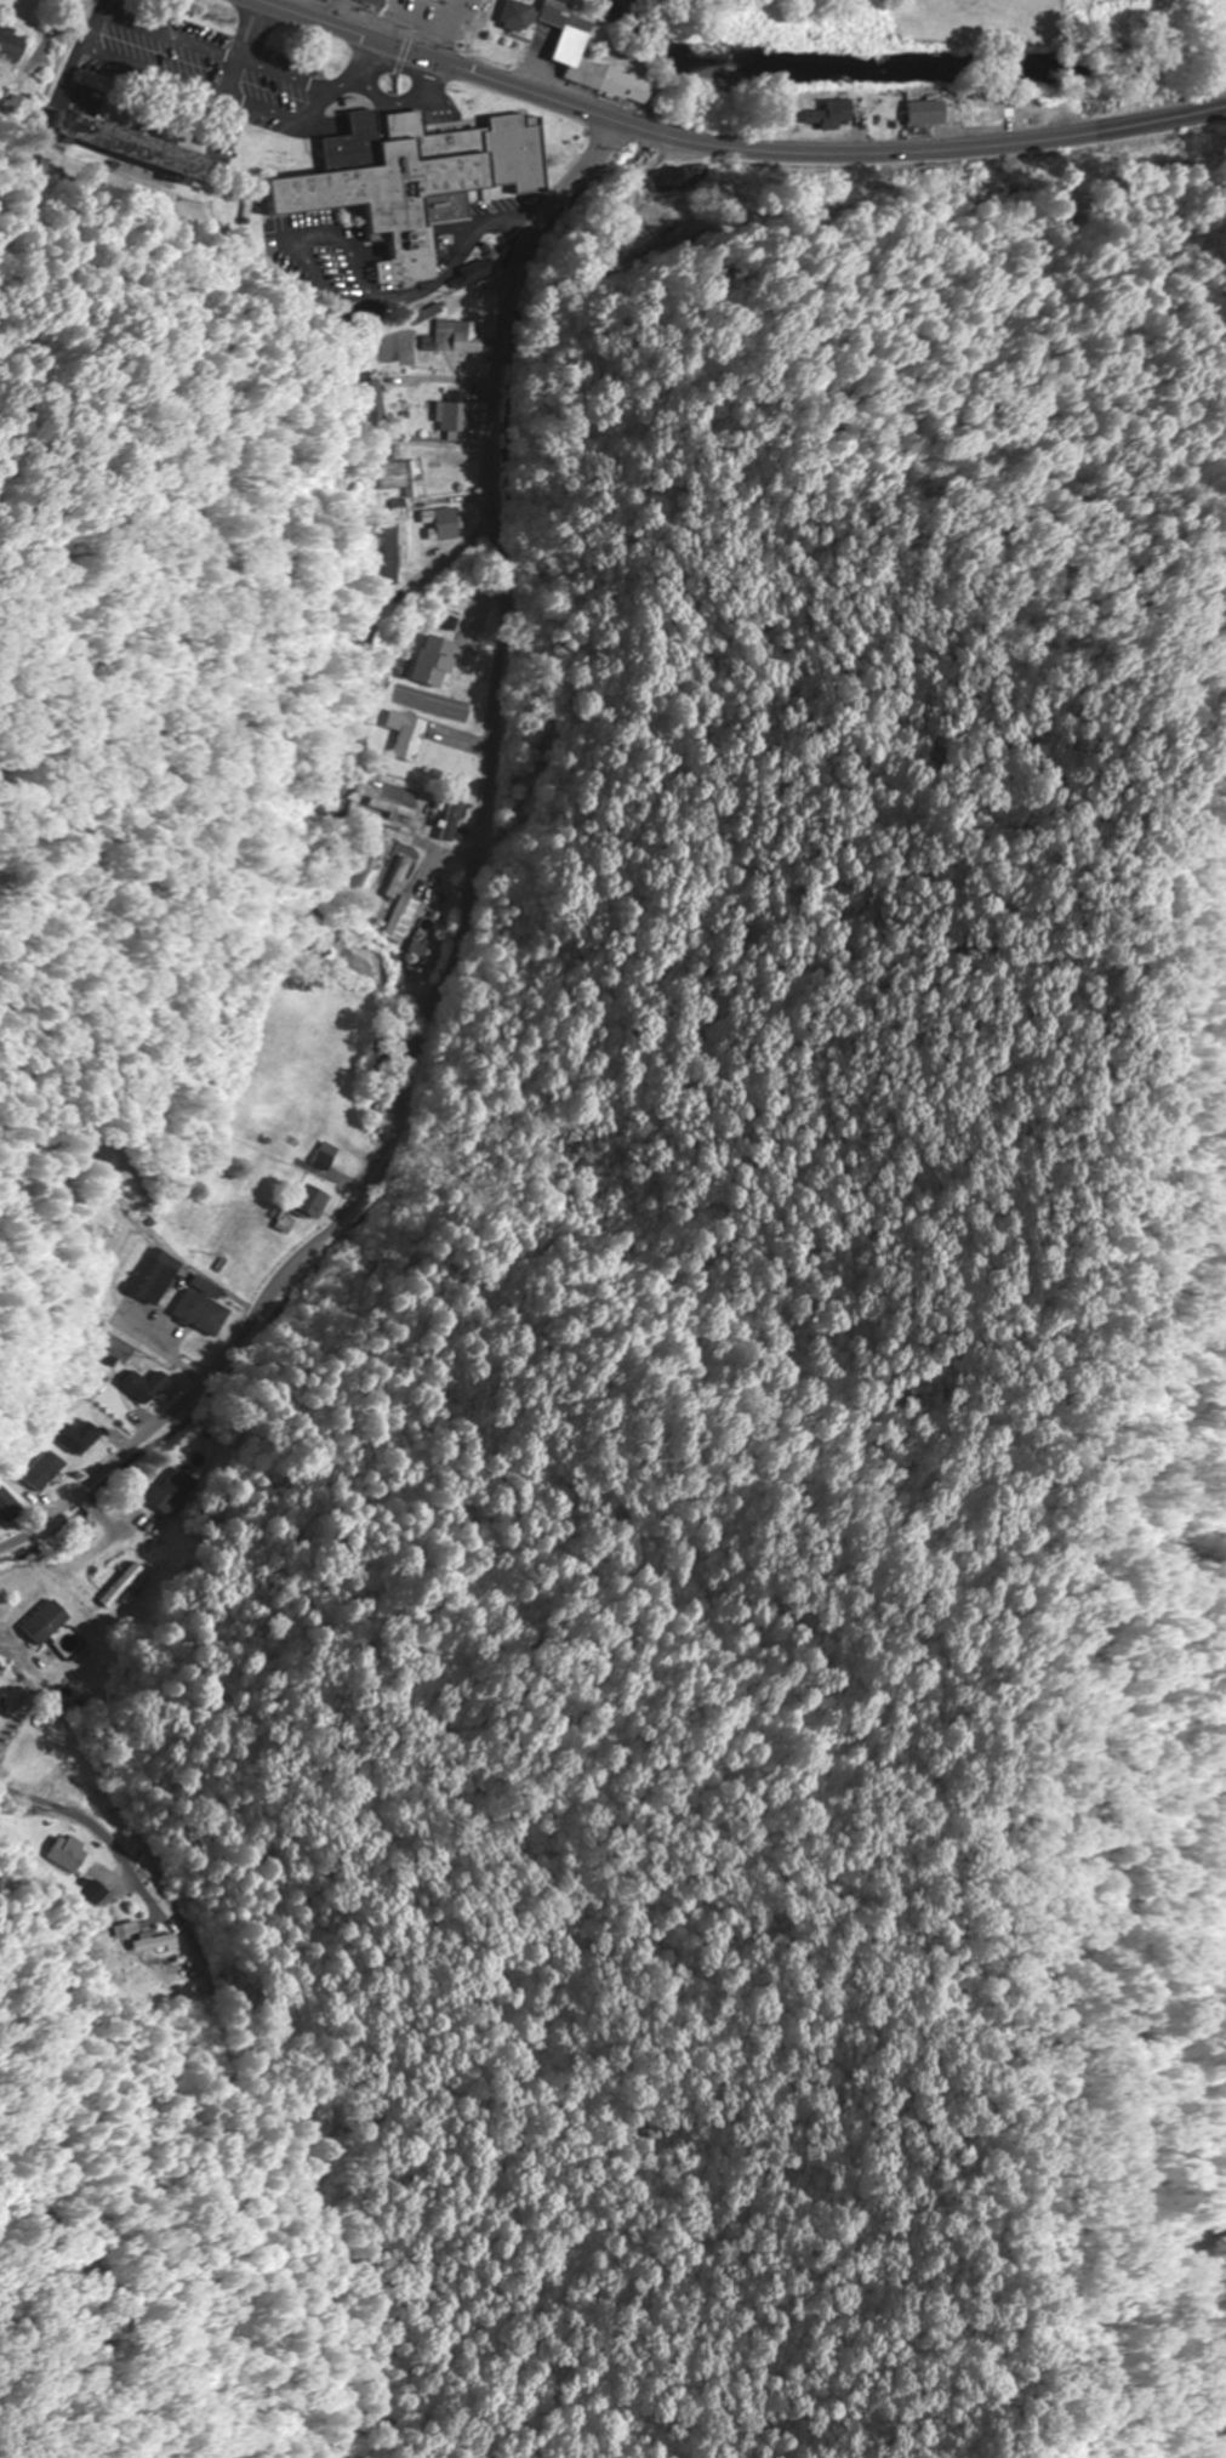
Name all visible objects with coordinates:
building: (370, 2)
building: (514, 17)
road: (404, 24)
building: (12, 44)
building: (568, 44)
building: (13, 113)
building: (923, 113)
building: (827, 115)
building: (130, 147)
road: (731, 148)
building: (415, 181)
building: (472, 275)
building: (461, 337)
building: (375, 405)
building: (455, 416)
building: (403, 476)
building: (450, 525)
building: (386, 554)
building: (435, 662)
building: (407, 736)
road: (462, 907)
building: (400, 929)
building: (418, 958)
building: (324, 1155)
building: (309, 1202)
building: (159, 1275)
building: (203, 1307)
building: (148, 1386)
building: (85, 1438)
building: (51, 1472)
building: (169, 1491)
building: (12, 1502)
building: (121, 1586)
building: (47, 1622)
building: (1, 1701)
building: (61, 1853)
building: (92, 1893)
building: (141, 1936)

